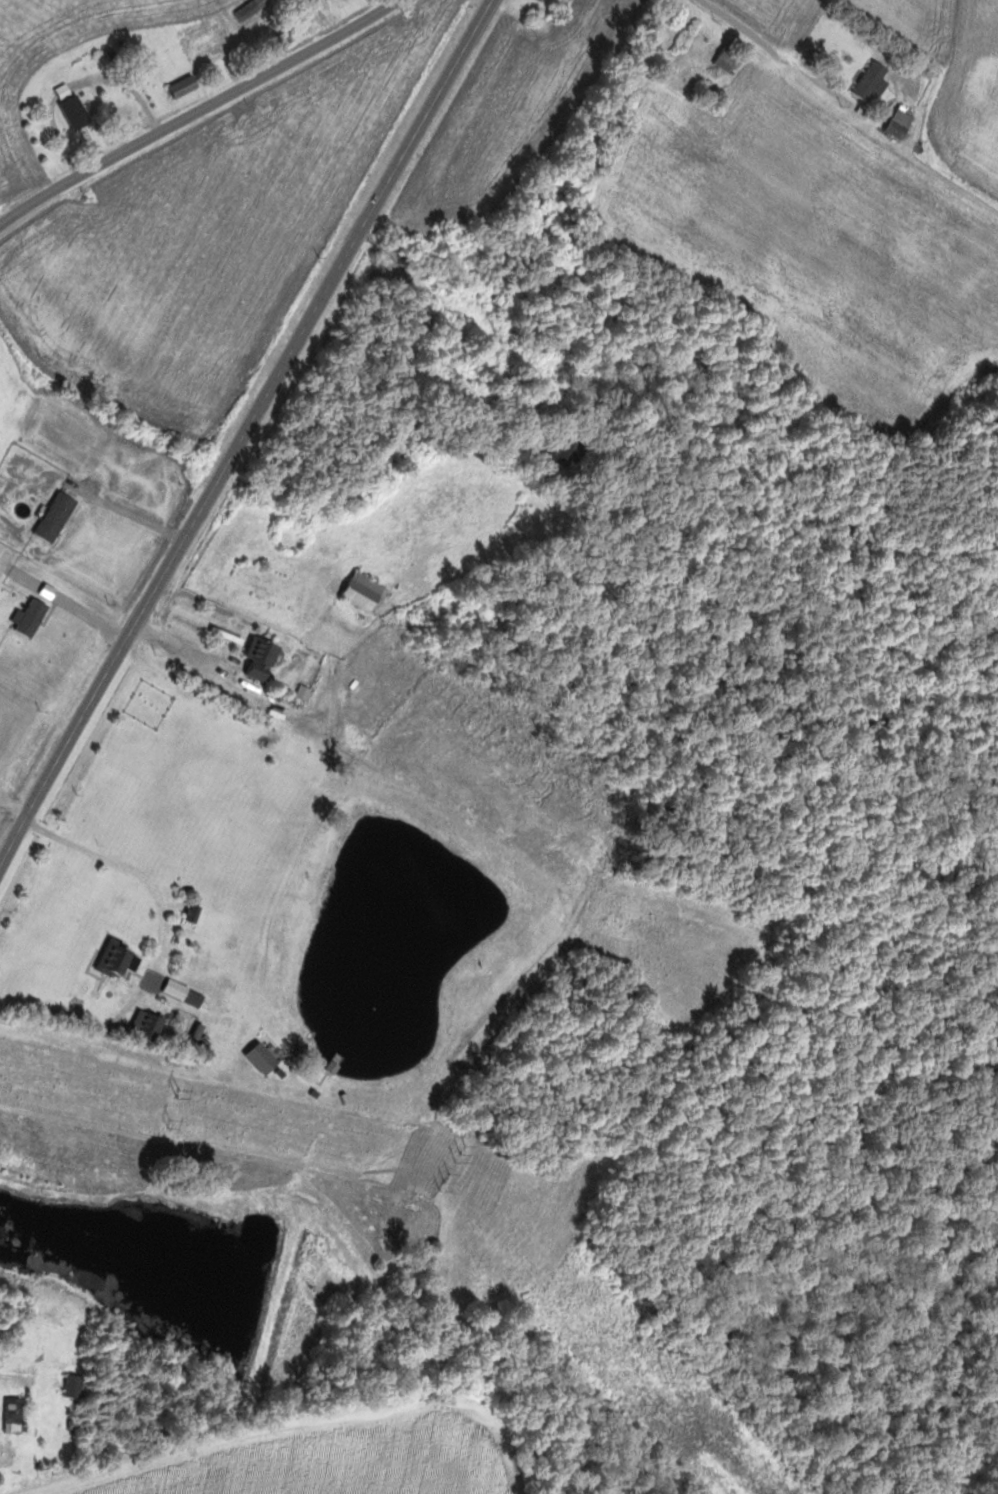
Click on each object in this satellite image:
building: (254, 8)
road: (767, 48)
building: (729, 58)
building: (875, 81)
building: (186, 86)
building: (76, 107)
road: (201, 113)
building: (906, 116)
road: (635, 123)
road: (418, 373)
road: (246, 434)
building: (567, 449)
building: (57, 516)
building: (365, 591)
building: (265, 657)
road: (235, 691)
building: (333, 880)
building: (496, 881)
road: (147, 883)
building: (195, 913)
building: (122, 960)
building: (196, 998)
building: (151, 1025)
power tower: (180, 1093)
power tower: (171, 1124)
power tower: (462, 1154)
power tower: (445, 1183)
road: (12, 1377)
power tower: (671, 1382)
building: (76, 1386)
power tower: (651, 1400)
building: (16, 1416)

